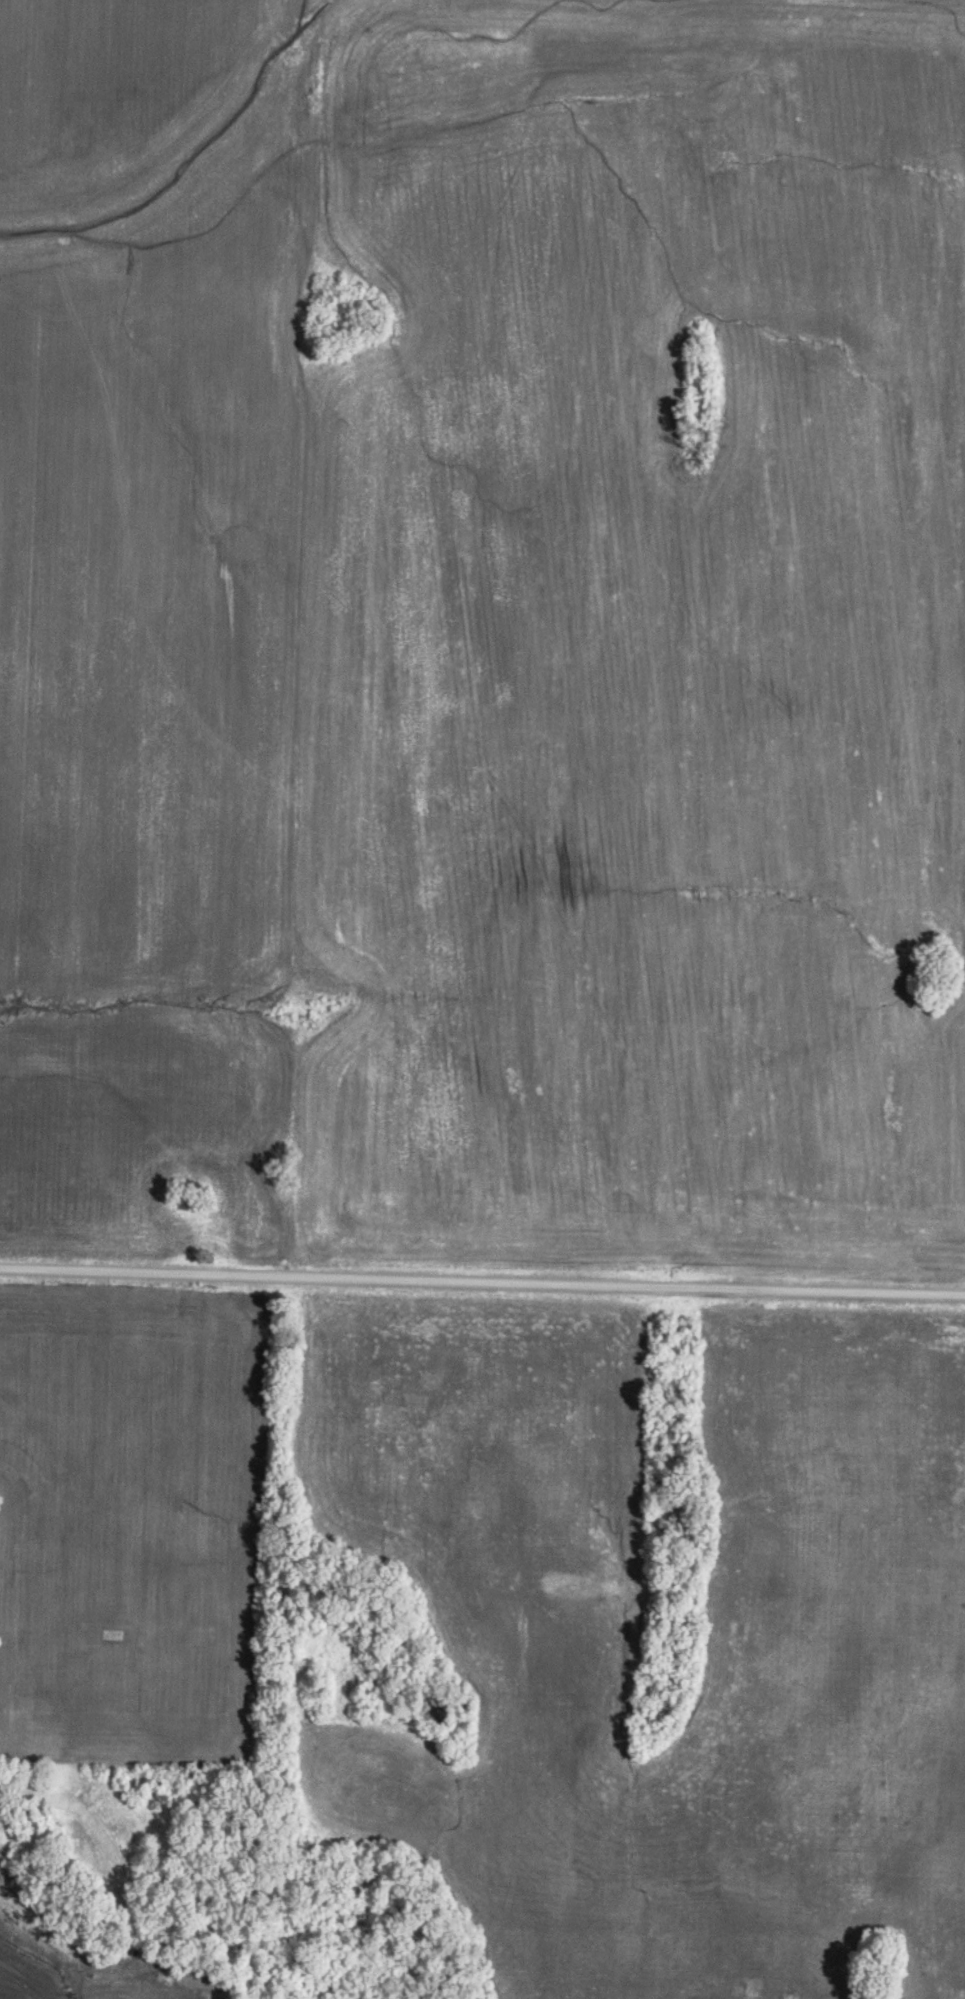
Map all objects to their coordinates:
road: (482, 1287)

